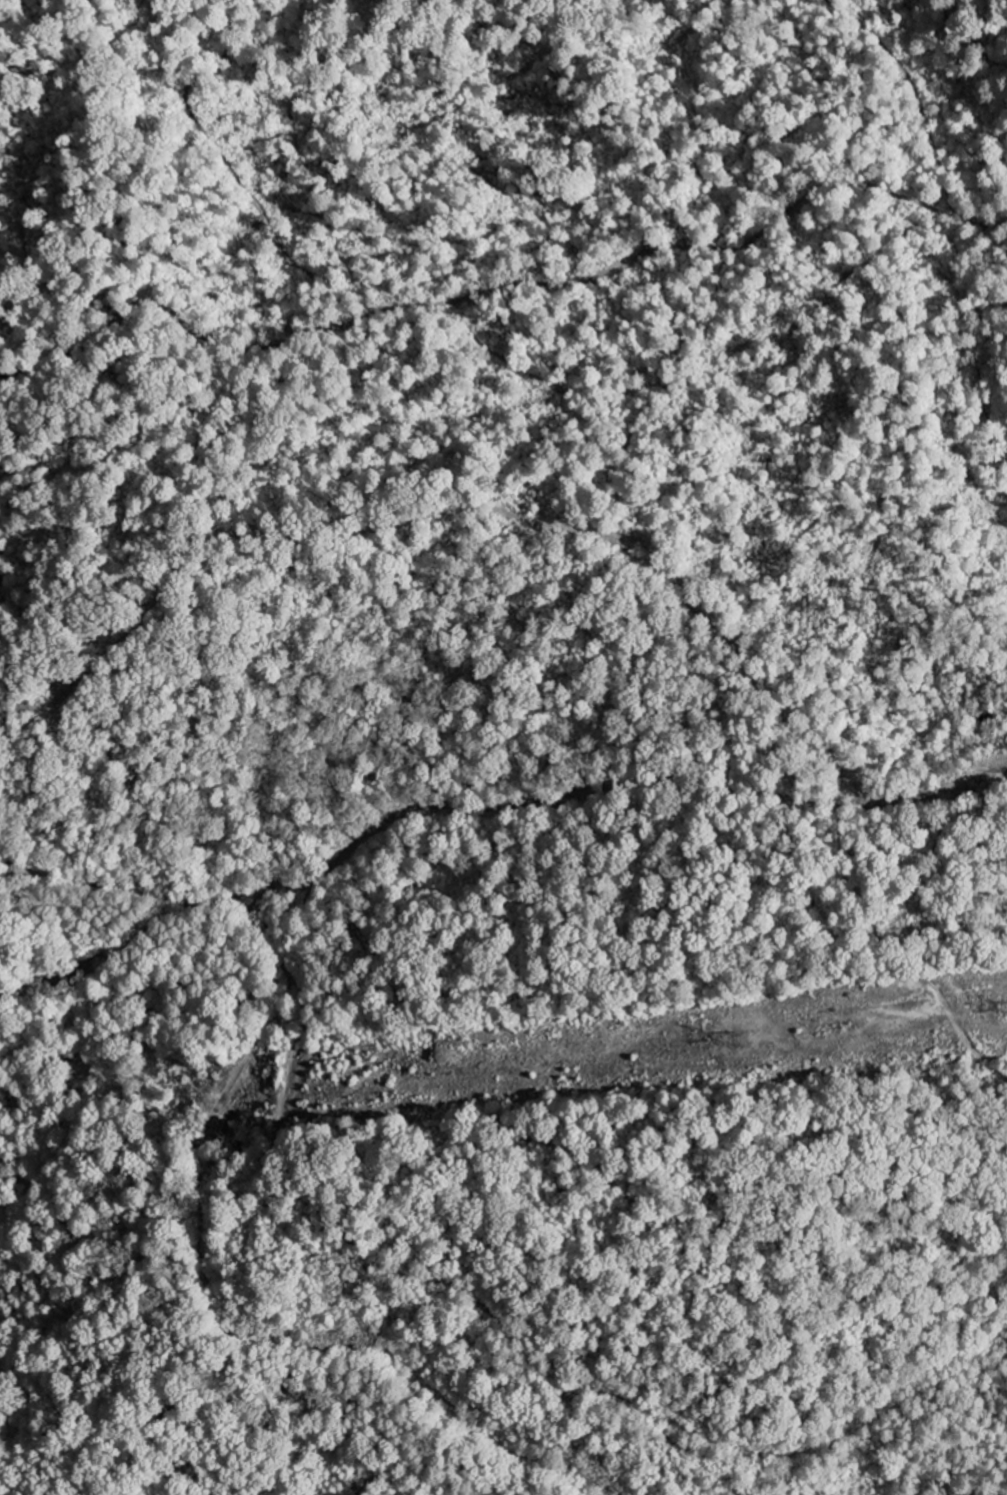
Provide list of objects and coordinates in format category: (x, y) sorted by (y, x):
power tower: (741, 1052)

